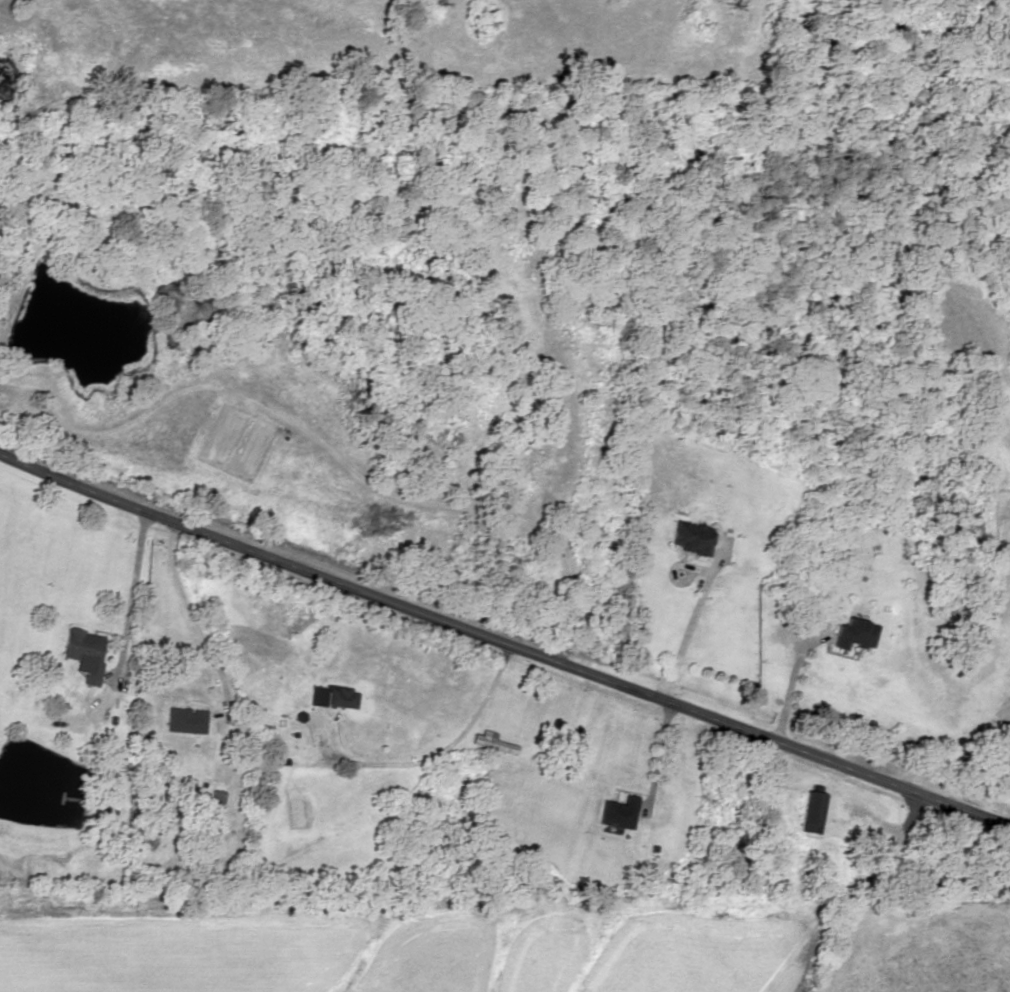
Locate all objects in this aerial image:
building: (688, 538)
building: (853, 635)
road: (503, 642)
building: (84, 652)
building: (342, 698)
building: (492, 743)
building: (227, 800)
building: (618, 813)
building: (810, 813)

